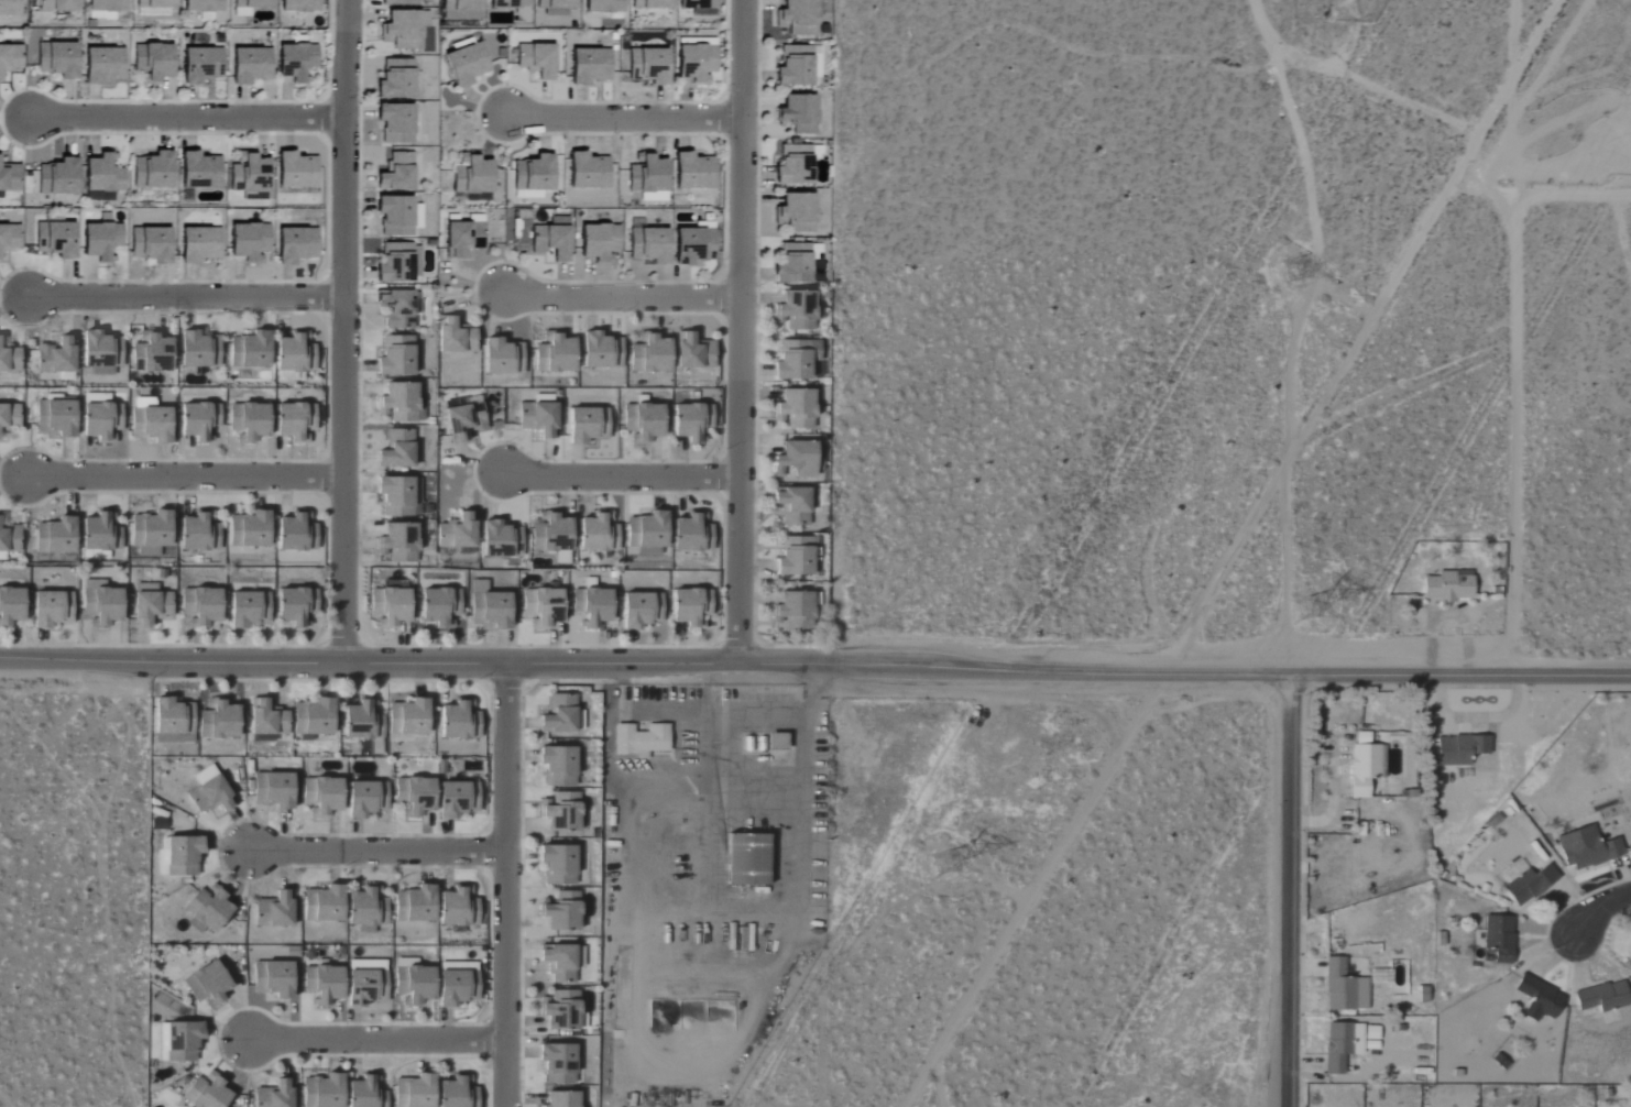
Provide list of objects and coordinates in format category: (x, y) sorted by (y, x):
building: (397, 2)
building: (155, 3)
building: (253, 3)
building: (508, 4)
building: (652, 4)
building: (57, 6)
building: (107, 6)
building: (201, 6)
building: (299, 6)
building: (604, 6)
building: (557, 7)
building: (700, 7)
building: (10, 8)
building: (462, 10)
building: (798, 18)
building: (403, 30)
building: (10, 57)
building: (57, 59)
building: (536, 59)
building: (296, 61)
building: (152, 62)
building: (697, 63)
building: (467, 64)
road: (1307, 64)
building: (102, 65)
building: (201, 65)
building: (250, 65)
building: (590, 65)
building: (648, 65)
building: (798, 65)
building: (396, 79)
building: (799, 113)
road: (186, 117)
road: (623, 119)
building: (396, 123)
road: (1466, 133)
building: (795, 165)
building: (153, 171)
building: (199, 171)
building: (296, 171)
building: (693, 171)
building: (588, 172)
building: (397, 173)
building: (534, 173)
building: (472, 175)
building: (250, 176)
building: (10, 177)
building: (58, 177)
building: (648, 177)
building: (102, 178)
road: (1311, 179)
building: (528, 195)
road: (1575, 197)
building: (797, 212)
building: (398, 216)
building: (10, 238)
building: (55, 239)
building: (463, 239)
building: (552, 239)
building: (101, 241)
building: (249, 241)
building: (600, 242)
building: (151, 244)
building: (199, 244)
building: (296, 244)
building: (649, 245)
building: (693, 245)
building: (396, 263)
building: (793, 264)
power tower: (1306, 273)
road: (622, 296)
road: (186, 297)
road: (1344, 305)
building: (395, 309)
building: (796, 310)
road: (343, 330)
road: (742, 331)
building: (455, 337)
road: (1520, 337)
building: (198, 350)
building: (250, 351)
building: (601, 351)
building: (101, 352)
building: (693, 352)
building: (151, 353)
building: (294, 353)
building: (555, 353)
building: (649, 354)
building: (56, 355)
building: (395, 357)
building: (502, 358)
building: (9, 361)
building: (792, 361)
road: (1290, 385)
building: (401, 403)
building: (796, 408)
building: (9, 417)
building: (55, 418)
building: (538, 418)
building: (198, 420)
building: (463, 420)
building: (101, 421)
building: (248, 421)
building: (294, 421)
building: (691, 421)
building: (643, 423)
building: (150, 425)
building: (587, 425)
building: (396, 450)
building: (819, 457)
road: (183, 476)
road: (621, 476)
building: (395, 496)
building: (416, 496)
building: (792, 506)
building: (151, 529)
building: (249, 530)
building: (647, 530)
building: (458, 531)
building: (100, 533)
building: (198, 533)
building: (296, 533)
building: (598, 534)
building: (692, 534)
building: (551, 536)
building: (55, 537)
building: (10, 539)
building: (501, 540)
building: (398, 541)
road: (1235, 553)
building: (2, 557)
building: (795, 557)
road: (1285, 568)
building: (1449, 587)
building: (100, 604)
building: (390, 604)
building: (150, 605)
building: (10, 606)
building: (200, 606)
building: (296, 606)
building: (489, 606)
building: (591, 606)
building: (439, 607)
building: (541, 607)
building: (690, 607)
building: (51, 609)
building: (248, 610)
building: (639, 610)
building: (795, 611)
power tower: (1309, 611)
road: (815, 662)
building: (561, 715)
road: (722, 715)
building: (314, 717)
building: (407, 717)
building: (266, 719)
building: (218, 721)
building: (362, 721)
building: (173, 722)
building: (458, 722)
building: (642, 739)
building: (777, 742)
building: (1460, 749)
building: (558, 766)
building: (1364, 769)
building: (204, 775)
building: (273, 791)
building: (414, 796)
building: (209, 797)
building: (321, 797)
building: (365, 799)
building: (457, 799)
building: (561, 812)
building: (1587, 848)
road: (375, 851)
building: (182, 856)
power tower: (952, 856)
building: (746, 861)
building: (557, 865)
road: (505, 885)
road: (1284, 891)
building: (415, 905)
building: (324, 906)
building: (366, 908)
building: (458, 908)
road: (1597, 909)
building: (206, 911)
building: (274, 911)
building: (562, 912)
building: (1499, 938)
building: (579, 957)
building: (559, 963)
building: (1629, 963)
building: (273, 979)
building: (321, 984)
building: (365, 984)
building: (457, 984)
building: (206, 985)
building: (414, 985)
building: (1338, 987)
building: (1361, 994)
building: (1603, 997)
building: (1540, 999)
building: (560, 1011)
road: (374, 1040)
building: (182, 1042)
building: (1342, 1045)
building: (557, 1064)
building: (322, 1092)
building: (414, 1092)
building: (206, 1093)
building: (458, 1093)
building: (364, 1094)
building: (274, 1095)
building: (561, 1099)

